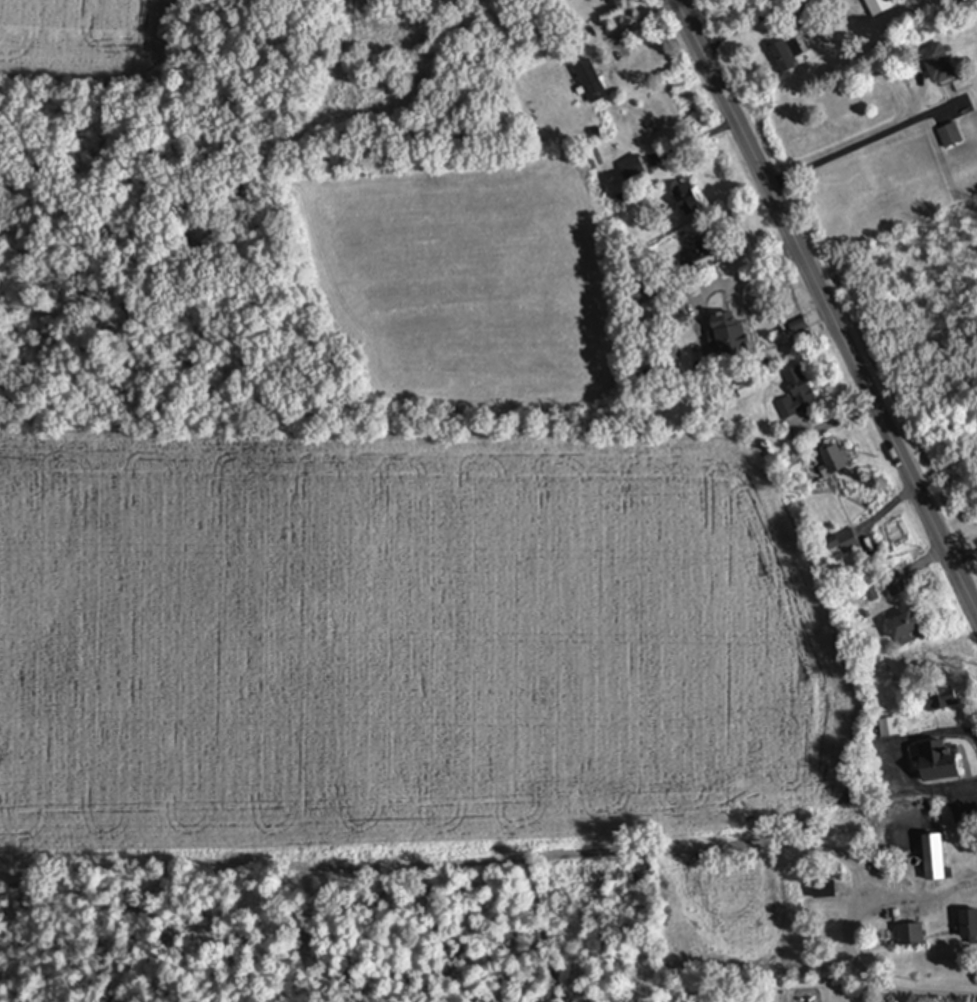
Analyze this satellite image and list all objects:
building: (909, 0)
building: (881, 6)
road: (751, 21)
road: (632, 24)
building: (786, 56)
building: (938, 66)
building: (590, 83)
building: (950, 137)
road: (859, 143)
building: (628, 170)
building: (687, 202)
building: (711, 258)
road: (744, 269)
road: (826, 307)
building: (731, 337)
building: (796, 396)
building: (842, 544)
road: (964, 556)
building: (895, 585)
building: (905, 630)
building: (942, 701)
building: (887, 730)
road: (895, 761)
building: (938, 762)
building: (935, 860)
building: (825, 891)
building: (969, 925)
building: (911, 935)
road: (849, 942)

